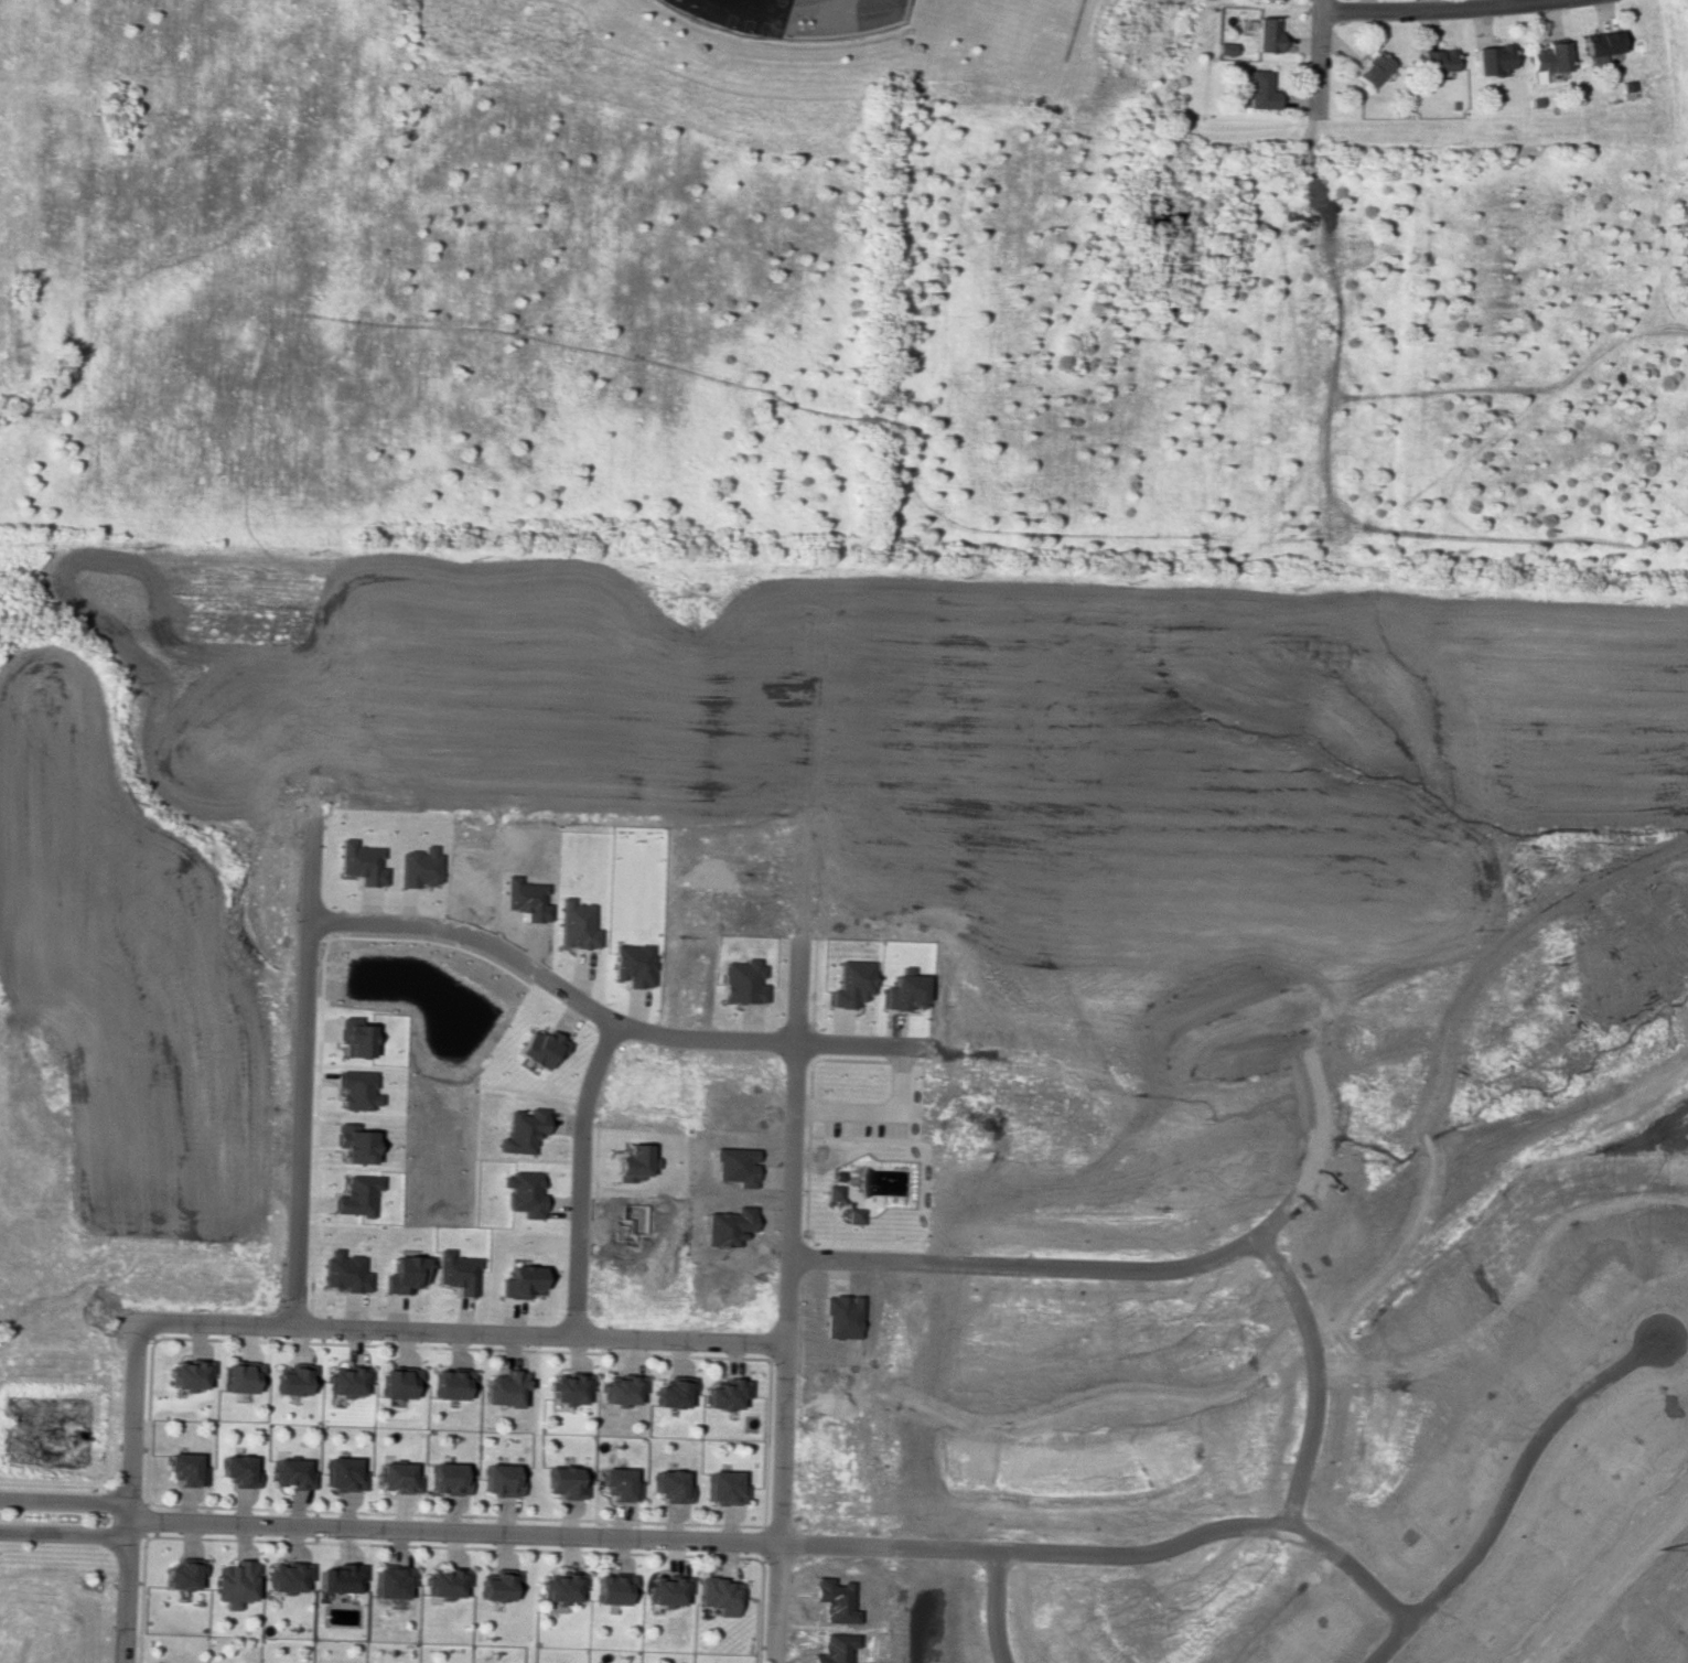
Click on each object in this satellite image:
road: (1434, 10)
park: (1021, 29)
road: (853, 32)
building: (1265, 34)
building: (1599, 43)
building: (1225, 49)
building: (1546, 57)
building: (1488, 58)
road: (1316, 60)
building: (1433, 60)
building: (1372, 69)
building: (1258, 90)
road: (608, 661)
road: (313, 679)
road: (804, 749)
building: (359, 862)
building: (417, 867)
building: (576, 924)
building: (632, 964)
building: (742, 981)
building: (851, 983)
building: (904, 990)
road: (604, 1017)
building: (355, 1039)
building: (539, 1048)
road: (300, 1072)
building: (356, 1090)
road: (879, 1112)
parking lot: (864, 1127)
building: (522, 1130)
building: (355, 1146)
building: (633, 1162)
building: (837, 1174)
road: (579, 1178)
road: (845, 1183)
building: (522, 1193)
building: (355, 1195)
building: (843, 1203)
road: (1057, 1266)
building: (343, 1272)
building: (455, 1272)
building: (404, 1274)
building: (519, 1281)
road: (1520, 1294)
road: (785, 1299)
road: (1316, 1303)
road: (1322, 1329)
road: (1310, 1332)
road: (458, 1333)
building: (187, 1374)
building: (239, 1376)
road: (1314, 1376)
building: (293, 1380)
building: (345, 1382)
building: (397, 1382)
building: (450, 1383)
building: (503, 1387)
building: (567, 1388)
building: (620, 1390)
building: (673, 1392)
building: (724, 1394)
road: (1097, 1398)
building: (183, 1469)
building: (237, 1470)
building: (289, 1473)
building: (341, 1473)
building: (396, 1478)
building: (447, 1479)
building: (499, 1480)
building: (563, 1482)
building: (617, 1483)
building: (669, 1485)
building: (723, 1487)
road: (128, 1492)
road: (65, 1501)
road: (1502, 1501)
road: (65, 1535)
road: (786, 1542)
power tower: (1653, 1546)
building: (180, 1574)
building: (286, 1577)
building: (337, 1578)
building: (390, 1581)
building: (234, 1582)
building: (444, 1582)
building: (497, 1585)
road: (1614, 1586)
building: (560, 1588)
building: (612, 1588)
building: (666, 1590)
building: (719, 1595)
road: (993, 1607)

